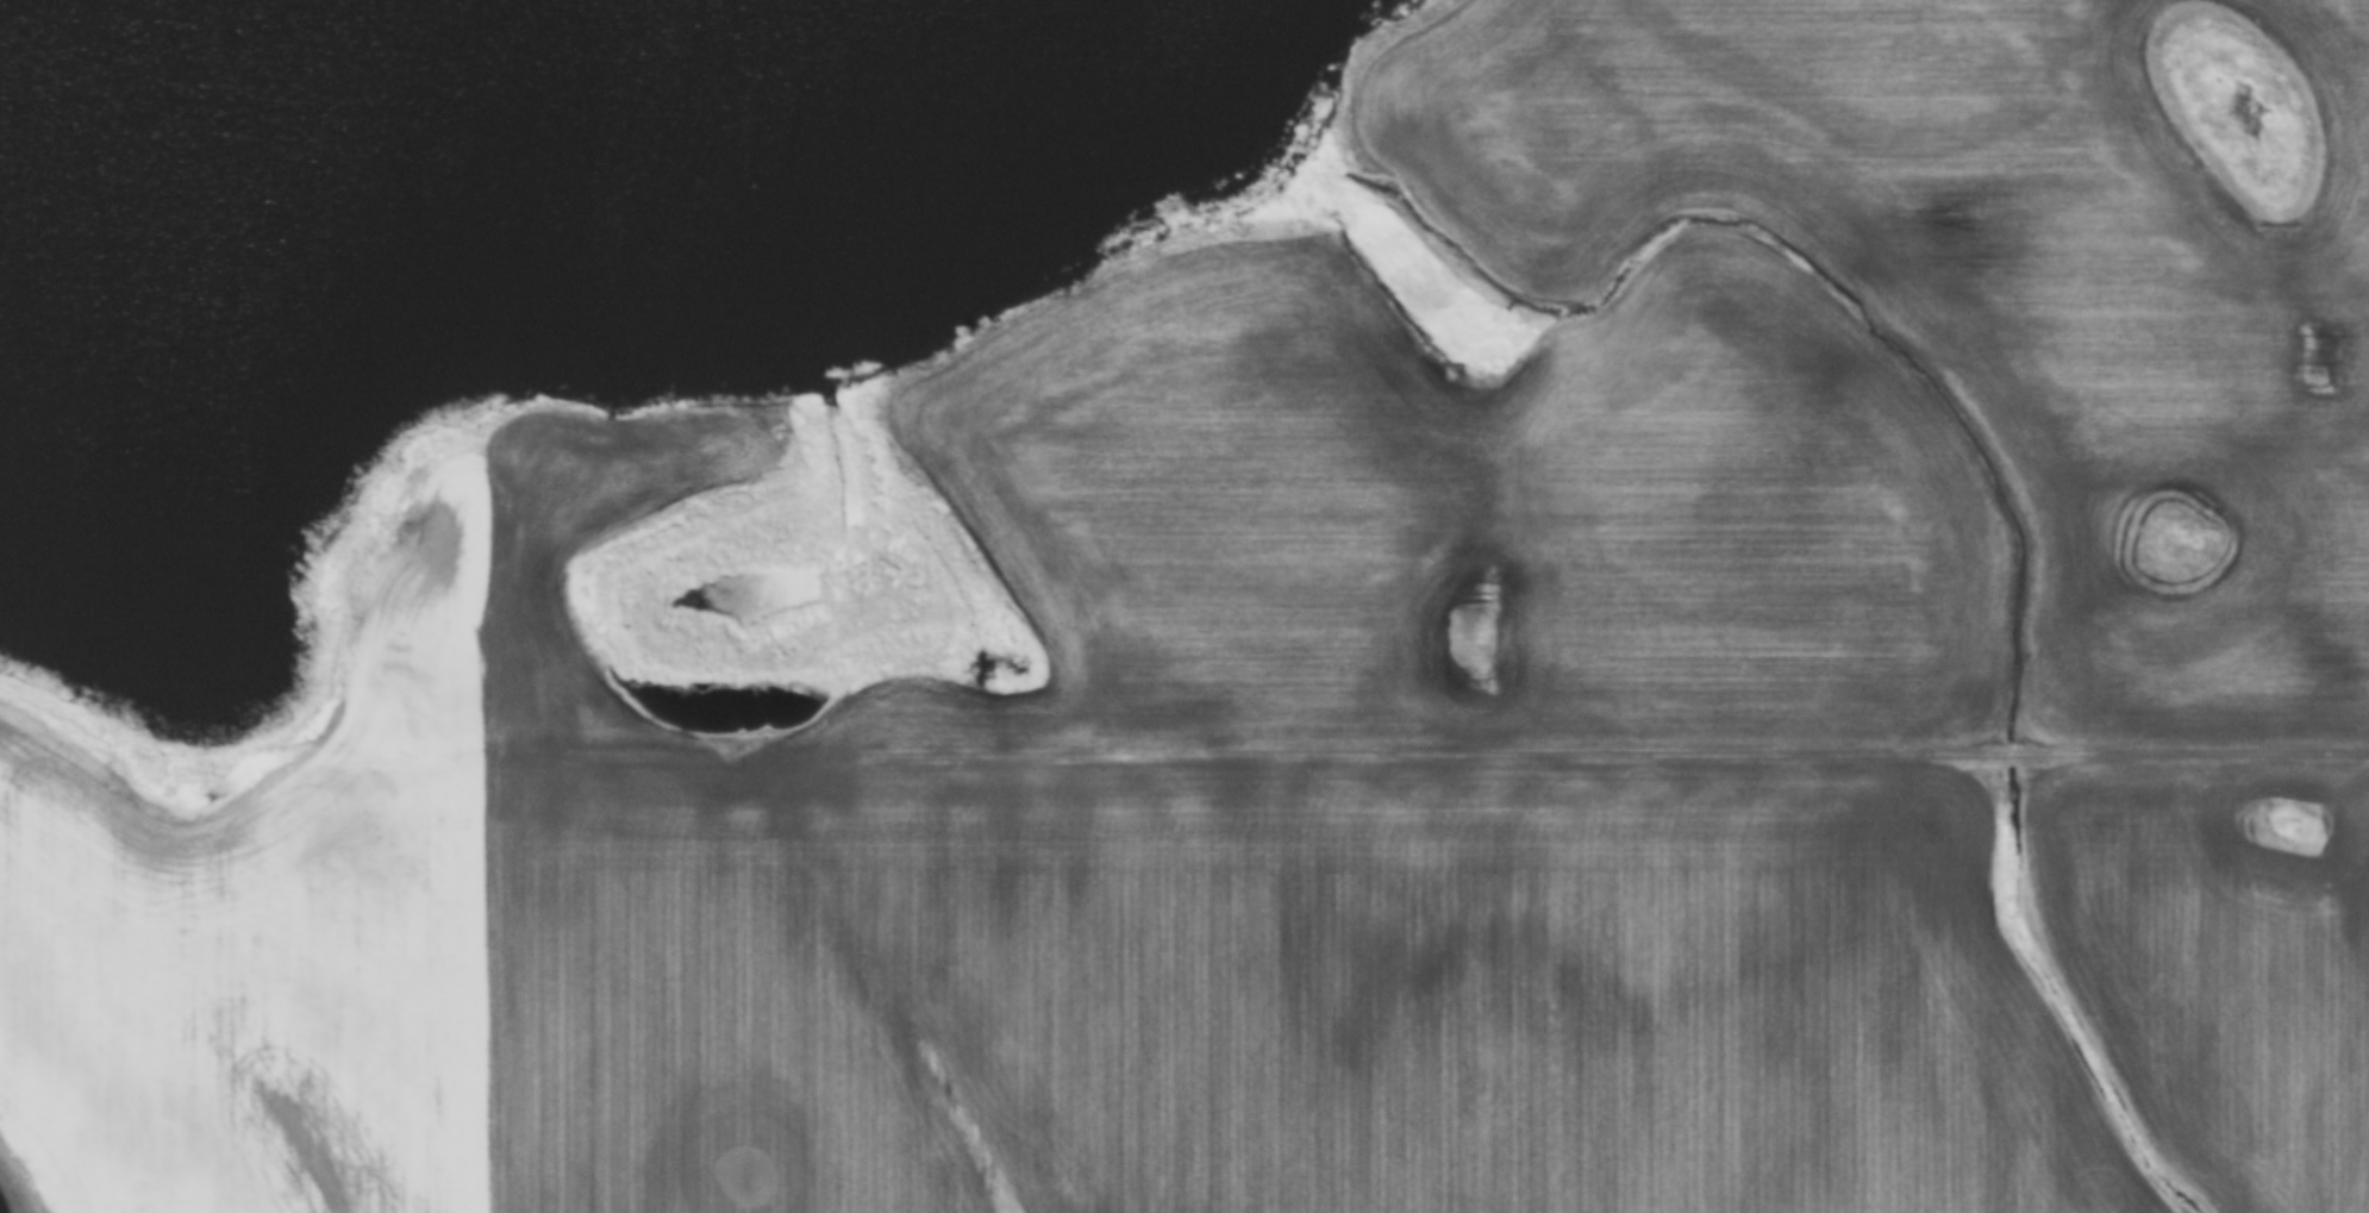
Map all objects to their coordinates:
road: (2186, 755)

